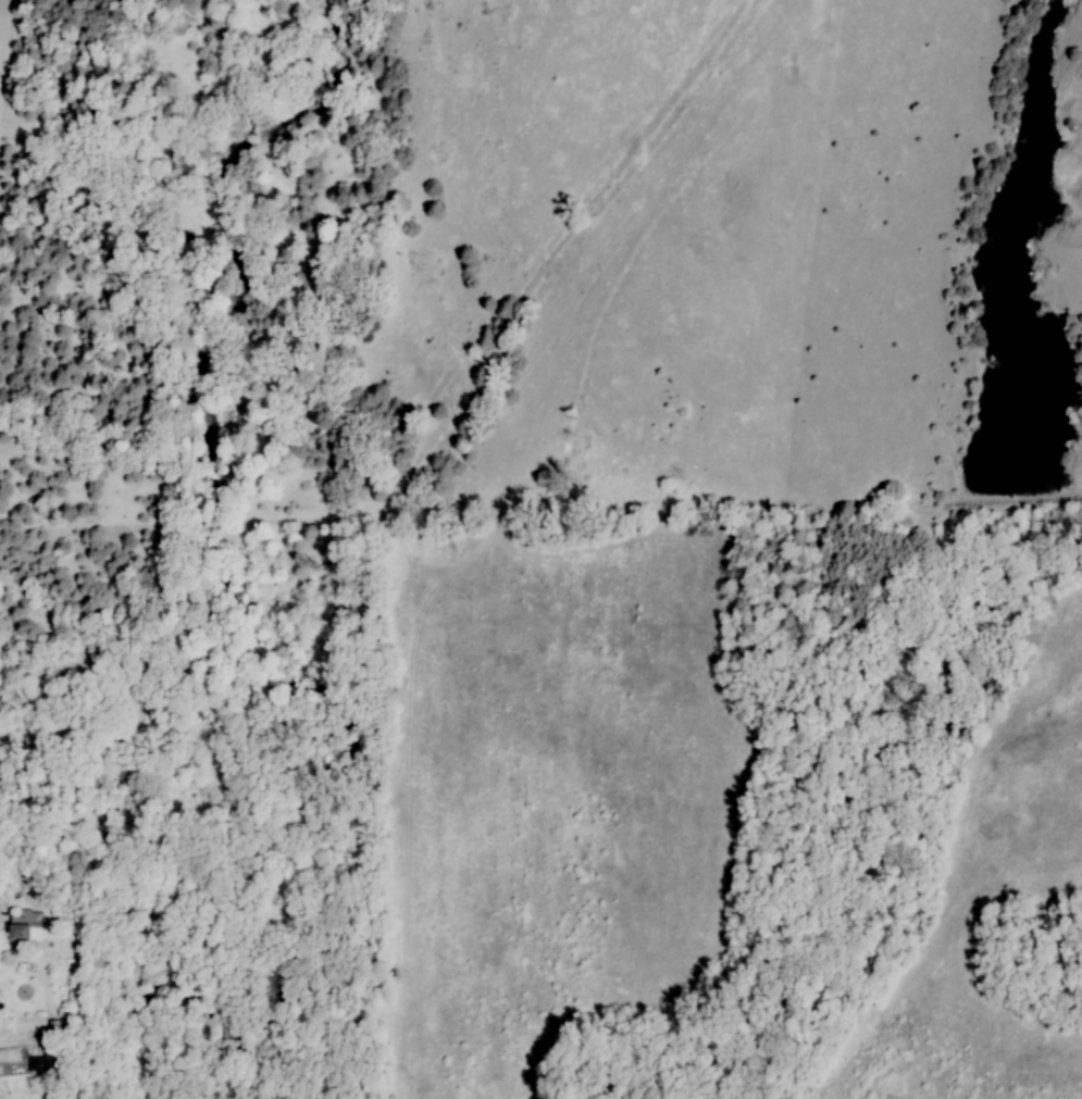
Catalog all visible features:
building: (26, 928)

